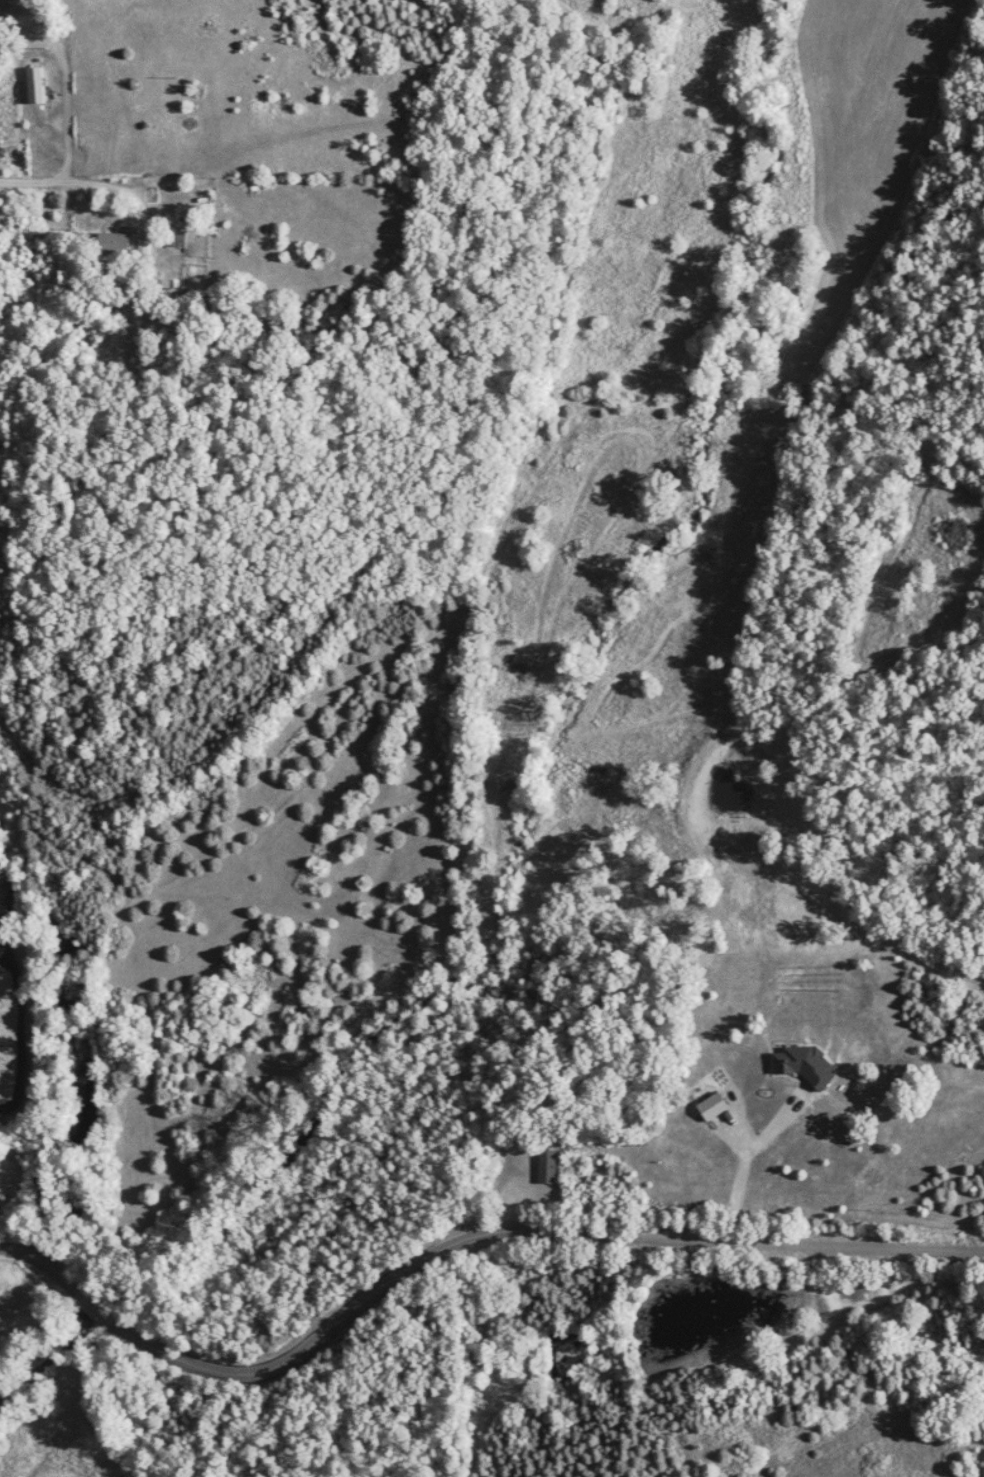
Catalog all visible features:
road: (40, 13)
building: (34, 84)
road: (74, 114)
road: (90, 181)
building: (116, 241)
building: (177, 242)
building: (547, 1164)
road: (731, 1236)
road: (27, 1247)
road: (267, 1365)

